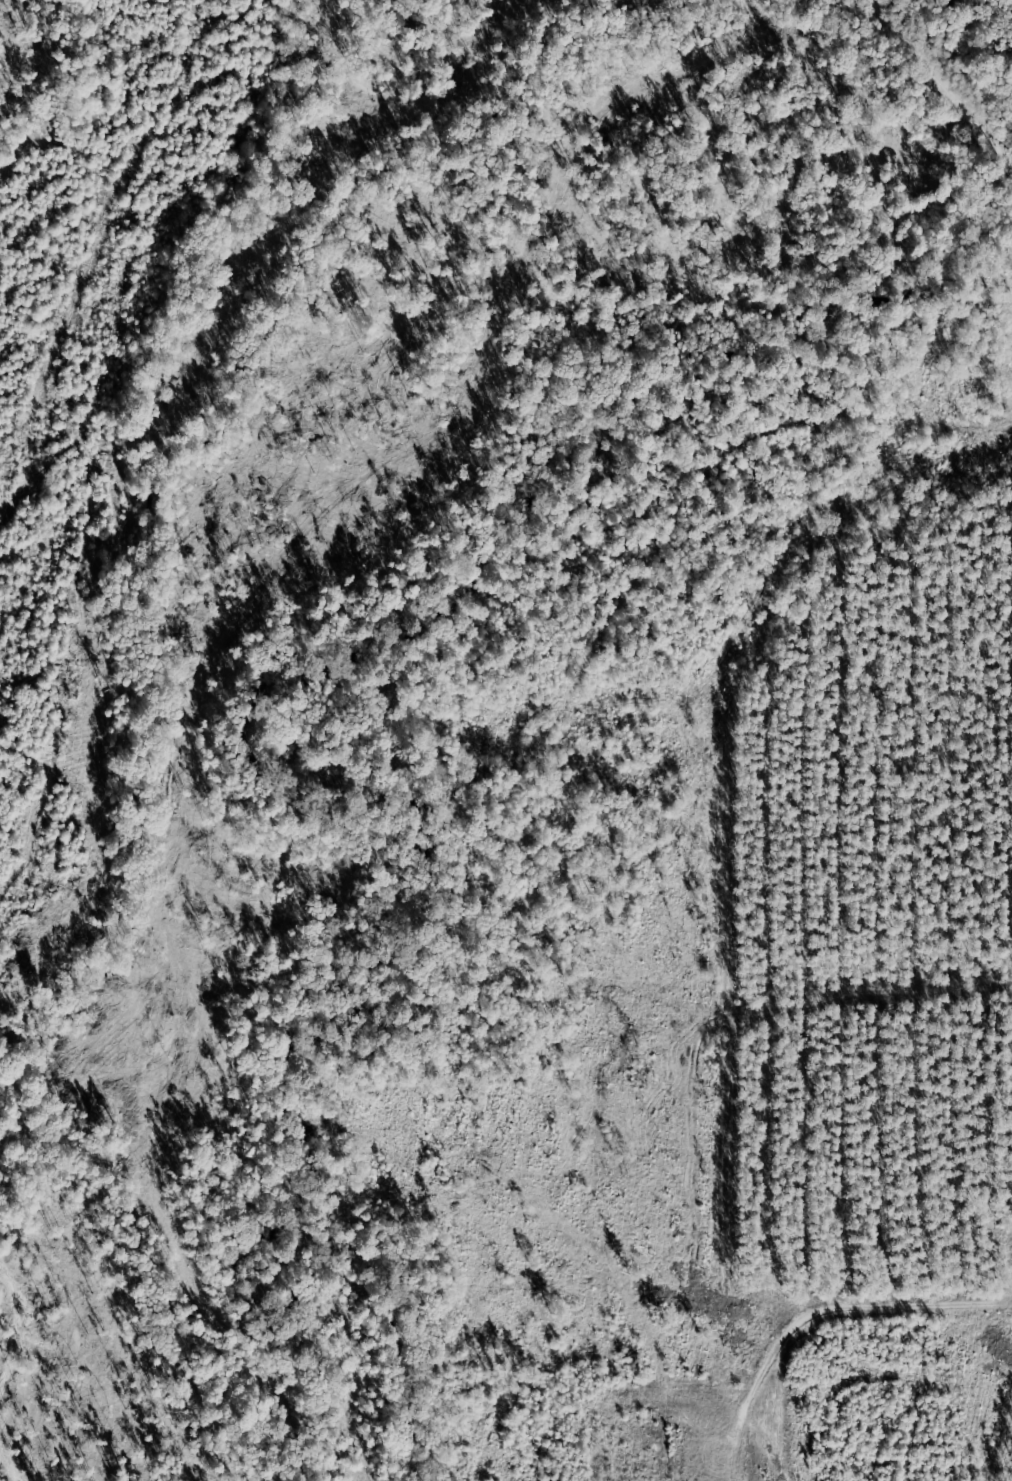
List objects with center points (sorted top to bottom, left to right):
road: (943, 82)
road: (5, 1260)
road: (851, 1320)

